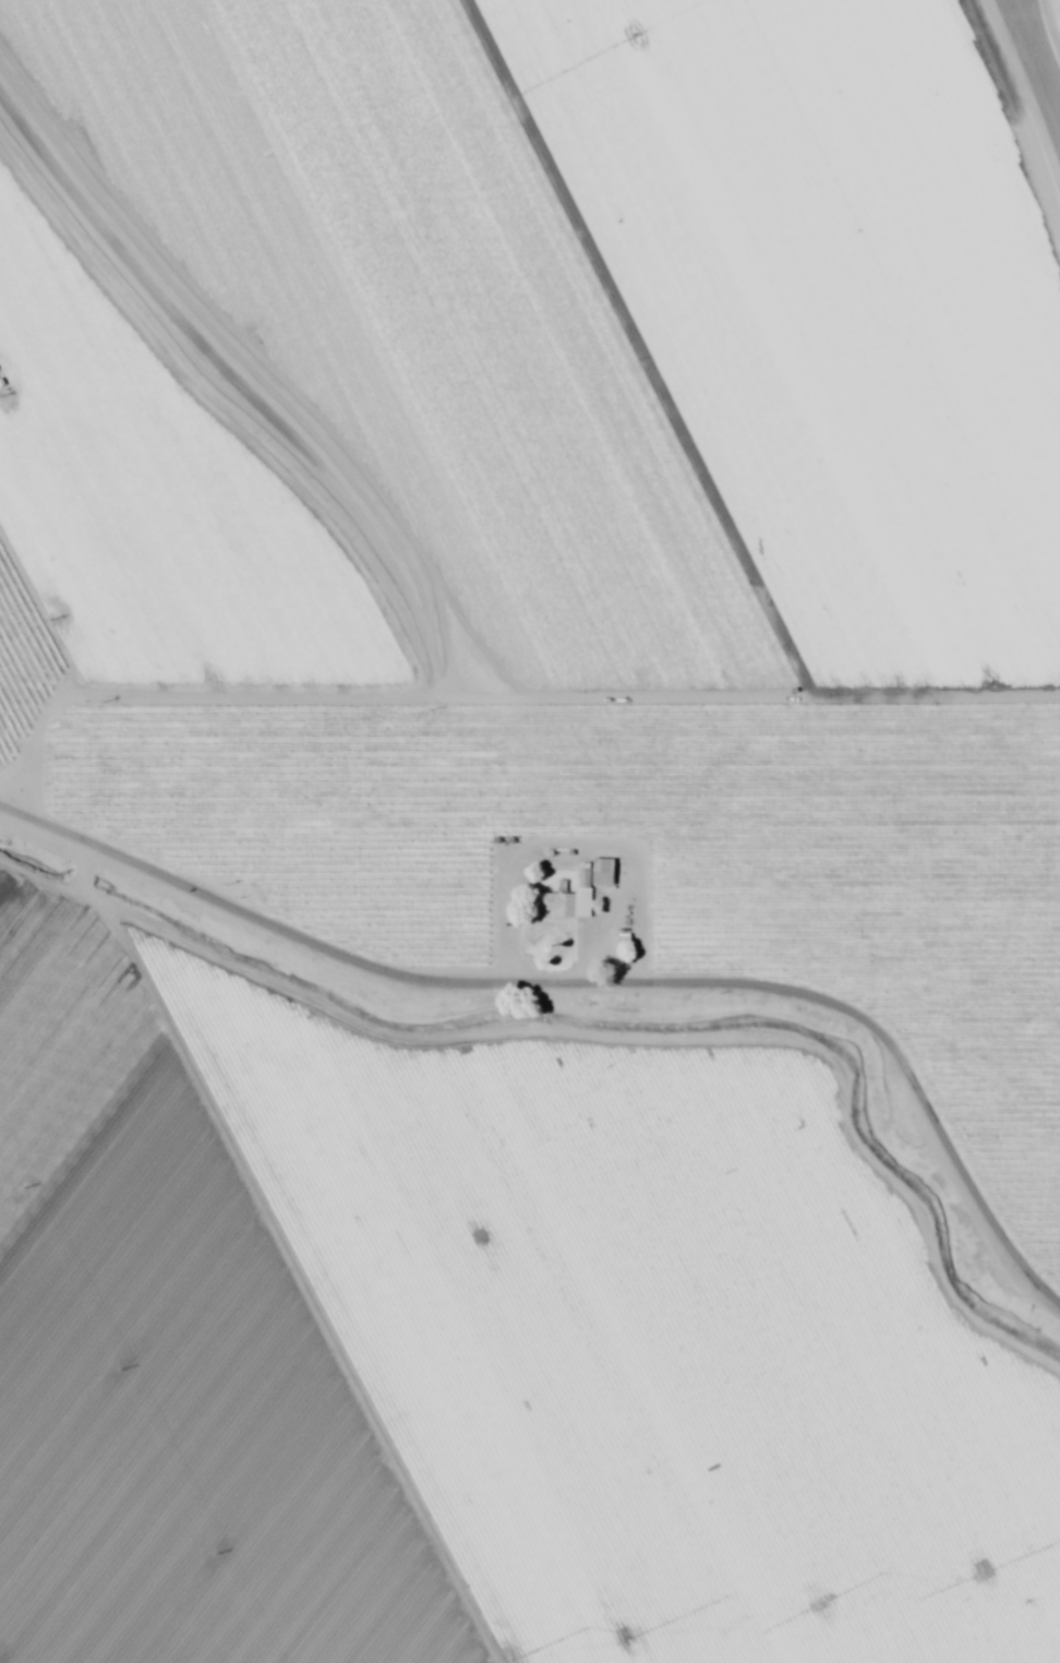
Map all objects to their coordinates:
road: (220, 387)
road: (132, 744)
crop: (523, 840)
building: (602, 874)
building: (565, 906)
road: (578, 998)
road: (268, 1281)

